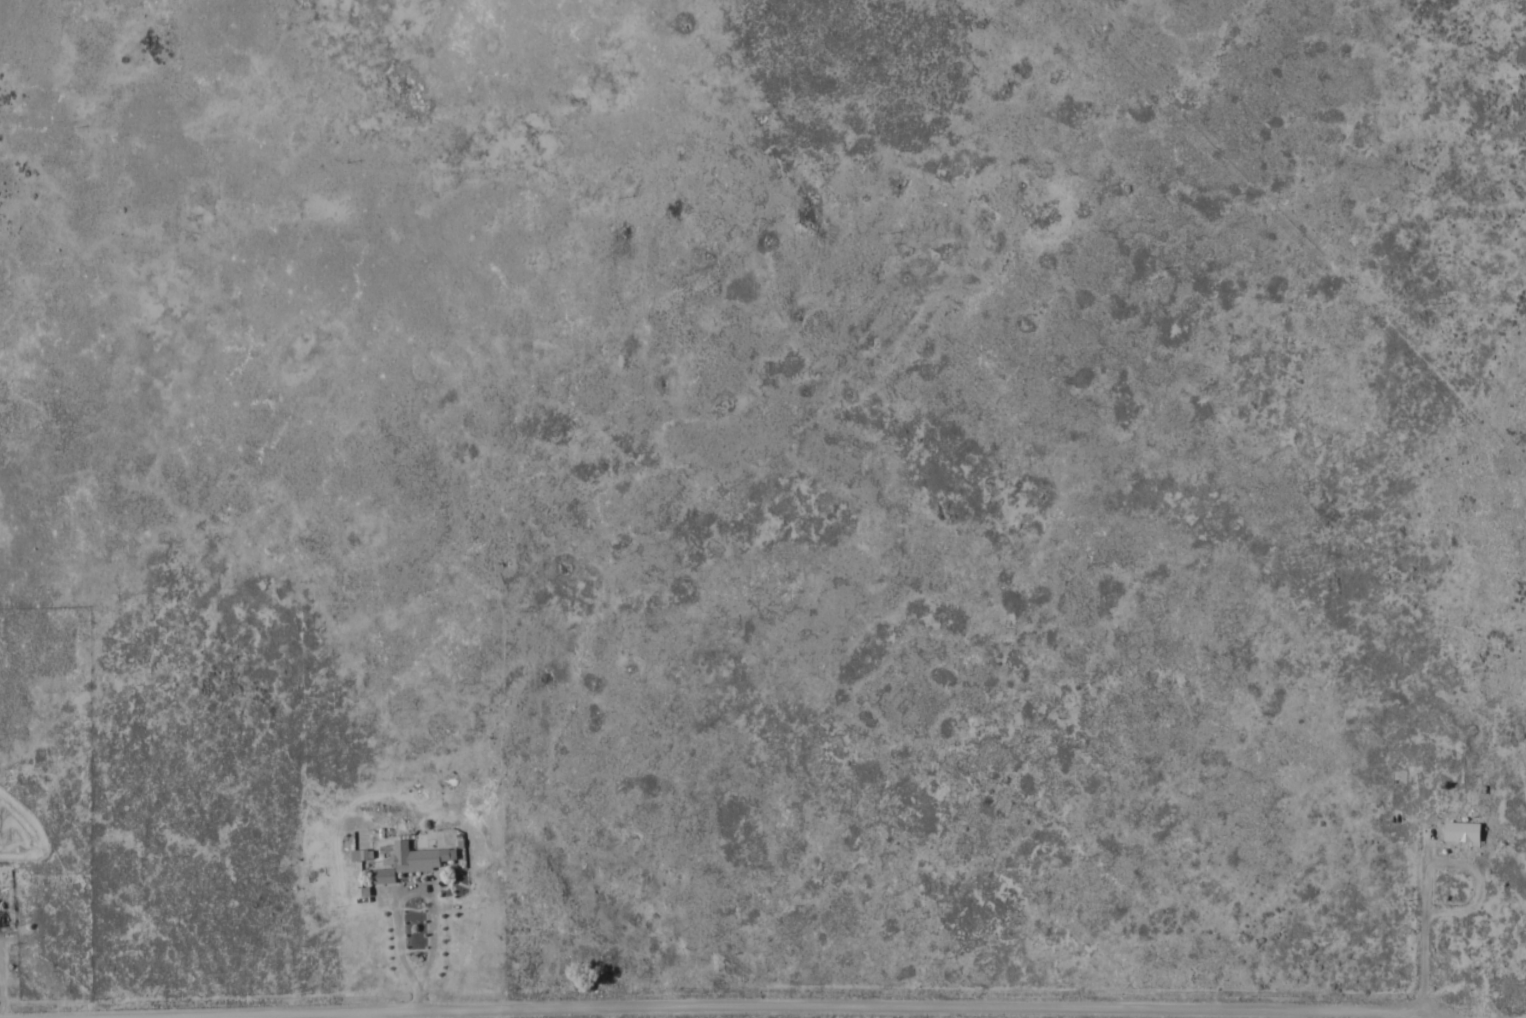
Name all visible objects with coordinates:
road: (1515, 43)
road: (1465, 746)
building: (1461, 830)
building: (406, 860)
building: (2, 918)
road: (726, 1007)
road: (1424, 1014)

